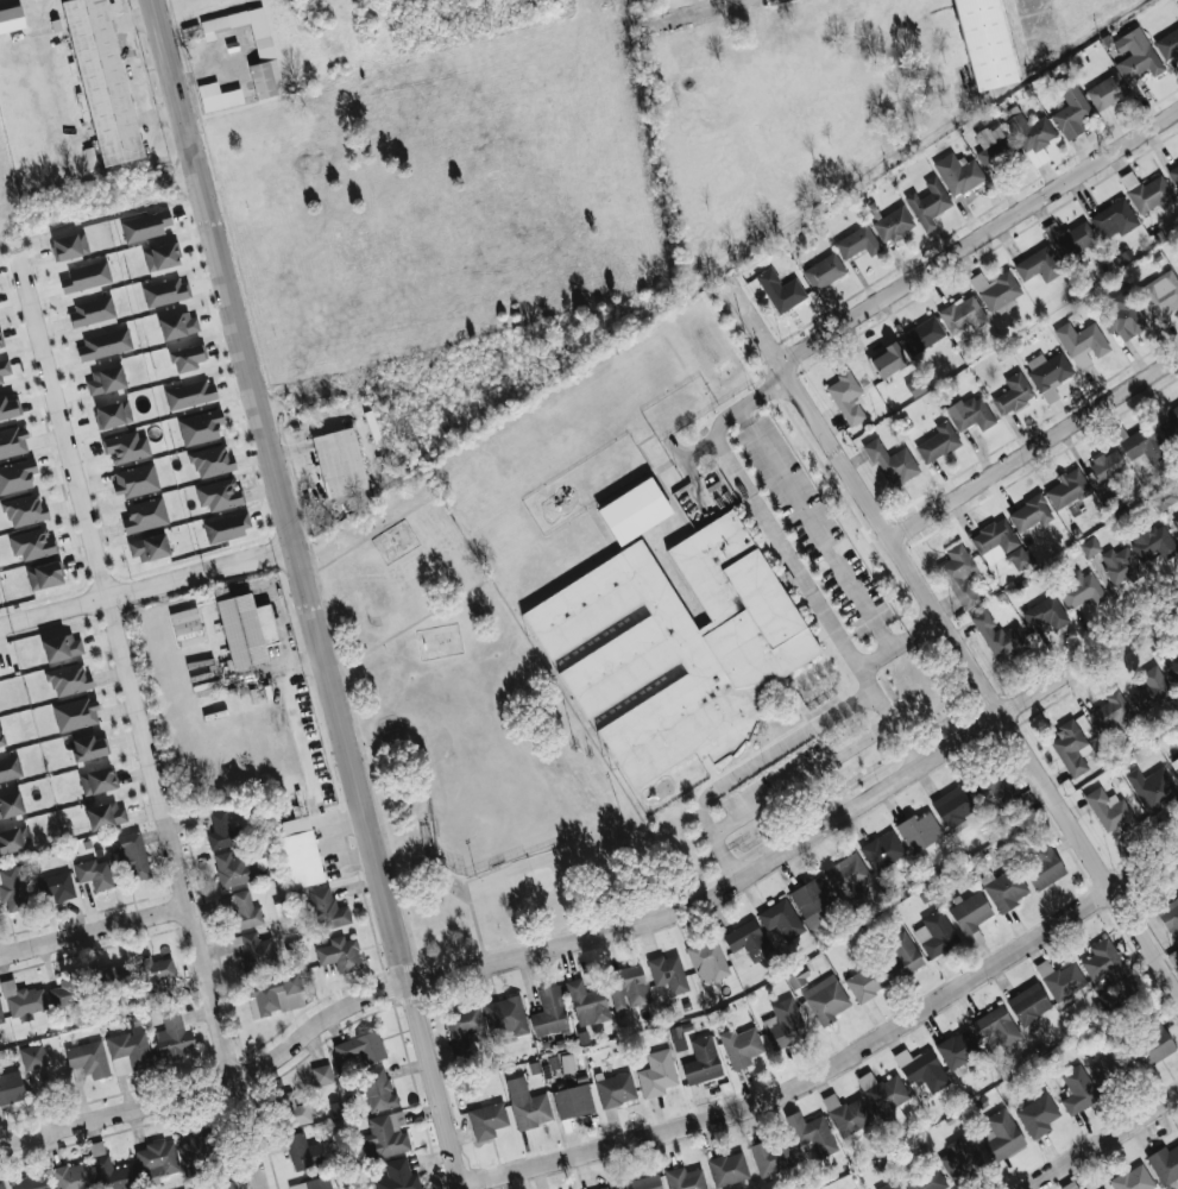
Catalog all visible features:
road: (688, 13)
building: (11, 19)
building: (262, 34)
building: (982, 43)
building: (1167, 45)
building: (1135, 54)
building: (266, 78)
building: (102, 81)
building: (1107, 92)
building: (218, 96)
building: (1071, 108)
building: (1031, 134)
building: (993, 145)
building: (90, 158)
building: (1173, 172)
building: (958, 174)
building: (1147, 193)
building: (928, 203)
building: (1114, 220)
building: (893, 225)
building: (145, 226)
building: (1070, 238)
road: (981, 239)
building: (858, 243)
building: (70, 246)
building: (160, 257)
building: (1039, 265)
building: (824, 271)
building: (86, 277)
building: (780, 290)
building: (996, 290)
building: (166, 291)
building: (1161, 296)
building: (92, 310)
building: (963, 316)
building: (1122, 316)
building: (179, 325)
building: (922, 335)
building: (0, 342)
building: (1082, 344)
building: (103, 345)
building: (188, 358)
building: (887, 360)
building: (5, 369)
building: (1048, 373)
building: (106, 380)
building: (1013, 394)
building: (190, 395)
building: (846, 397)
road: (748, 401)
building: (10, 408)
building: (113, 414)
building: (971, 414)
building: (1173, 417)
building: (200, 427)
building: (13, 441)
building: (938, 442)
building: (1140, 443)
road: (699, 446)
building: (126, 447)
road: (1035, 449)
building: (212, 461)
building: (892, 461)
building: (341, 465)
building: (1105, 467)
road: (691, 473)
building: (17, 476)
building: (136, 480)
building: (1067, 489)
building: (219, 495)
building: (1164, 497)
building: (25, 510)
building: (636, 511)
building: (1029, 514)
building: (145, 515)
building: (1176, 521)
building: (227, 527)
road: (818, 527)
road: (368, 536)
building: (32, 543)
building: (1153, 543)
building: (1000, 545)
building: (150, 547)
building: (1090, 547)
road: (787, 552)
building: (1120, 565)
building: (45, 575)
building: (959, 575)
road: (149, 589)
building: (1081, 589)
road: (308, 594)
building: (1046, 612)
road: (410, 625)
building: (245, 628)
road: (950, 633)
building: (1000, 636)
road: (900, 642)
building: (62, 647)
building: (679, 647)
building: (1173, 672)
building: (69, 679)
road: (868, 679)
building: (1151, 690)
road: (883, 704)
park: (475, 710)
building: (75, 713)
building: (1111, 713)
road: (138, 722)
building: (1, 740)
road: (907, 742)
building: (88, 747)
building: (1071, 747)
road: (773, 753)
building: (1174, 763)
building: (10, 768)
road: (804, 776)
building: (97, 780)
building: (999, 788)
building: (1152, 788)
building: (11, 805)
building: (953, 806)
building: (1109, 811)
building: (105, 814)
building: (225, 828)
building: (919, 831)
building: (13, 838)
building: (882, 850)
building: (300, 851)
building: (131, 854)
road: (726, 858)
building: (1042, 867)
building: (234, 868)
road: (449, 870)
building: (94, 873)
building: (848, 876)
building: (13, 887)
building: (58, 887)
building: (1004, 888)
building: (812, 900)
building: (327, 908)
building: (241, 910)
building: (970, 916)
building: (1171, 916)
building: (781, 918)
road: (478, 921)
road: (612, 931)
road: (95, 932)
building: (936, 932)
building: (747, 939)
building: (254, 949)
building: (903, 950)
building: (340, 954)
building: (1173, 957)
building: (707, 960)
building: (1103, 962)
building: (668, 973)
building: (155, 976)
building: (798, 976)
building: (867, 982)
building: (626, 986)
building: (65, 990)
building: (273, 994)
building: (826, 999)
building: (586, 1004)
building: (1028, 1005)
building: (549, 1012)
building: (1, 1014)
building: (505, 1015)
building: (785, 1024)
building: (462, 1026)
building: (996, 1026)
building: (175, 1036)
building: (678, 1038)
building: (1152, 1042)
building: (741, 1046)
building: (128, 1050)
building: (359, 1050)
building: (958, 1050)
building: (32, 1056)
building: (87, 1059)
building: (701, 1061)
road: (840, 1063)
building: (1109, 1064)
building: (921, 1069)
building: (657, 1072)
building: (321, 1075)
building: (11, 1087)
building: (378, 1089)
building: (615, 1089)
building: (1077, 1089)
building: (883, 1092)
building: (573, 1101)
building: (527, 1105)
building: (291, 1109)
building: (846, 1114)
building: (1037, 1115)
building: (487, 1120)
building: (385, 1135)
building: (818, 1135)
building: (1002, 1135)
road: (1104, 1141)
building: (194, 1150)
building: (303, 1151)
building: (773, 1157)
building: (960, 1158)
building: (157, 1160)
building: (1165, 1163)
building: (729, 1169)
building: (112, 1170)
building: (74, 1176)
building: (398, 1176)
building: (924, 1176)
building: (685, 1178)
building: (1133, 1178)
building: (31, 1181)
building: (643, 1182)
building: (311, 1183)
building: (1, 1184)
building: (227, 1184)
building: (889, 1185)
building: (612, 1187)

